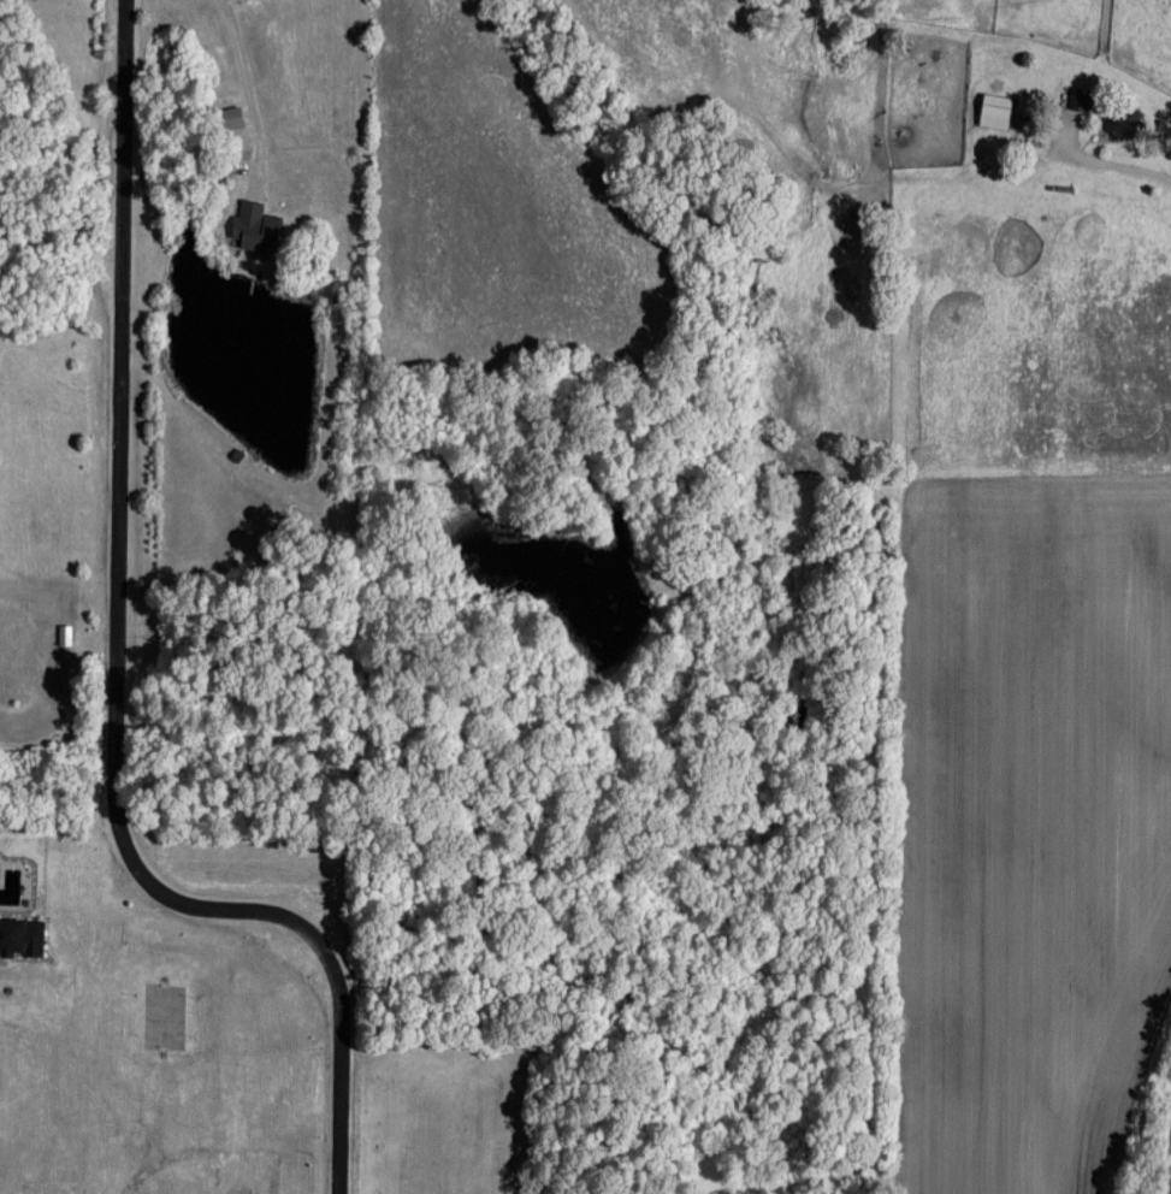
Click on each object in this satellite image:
road: (249, 93)
building: (1078, 97)
building: (994, 108)
building: (230, 116)
building: (1123, 117)
road: (1116, 164)
building: (255, 225)
road: (117, 667)
building: (20, 935)

